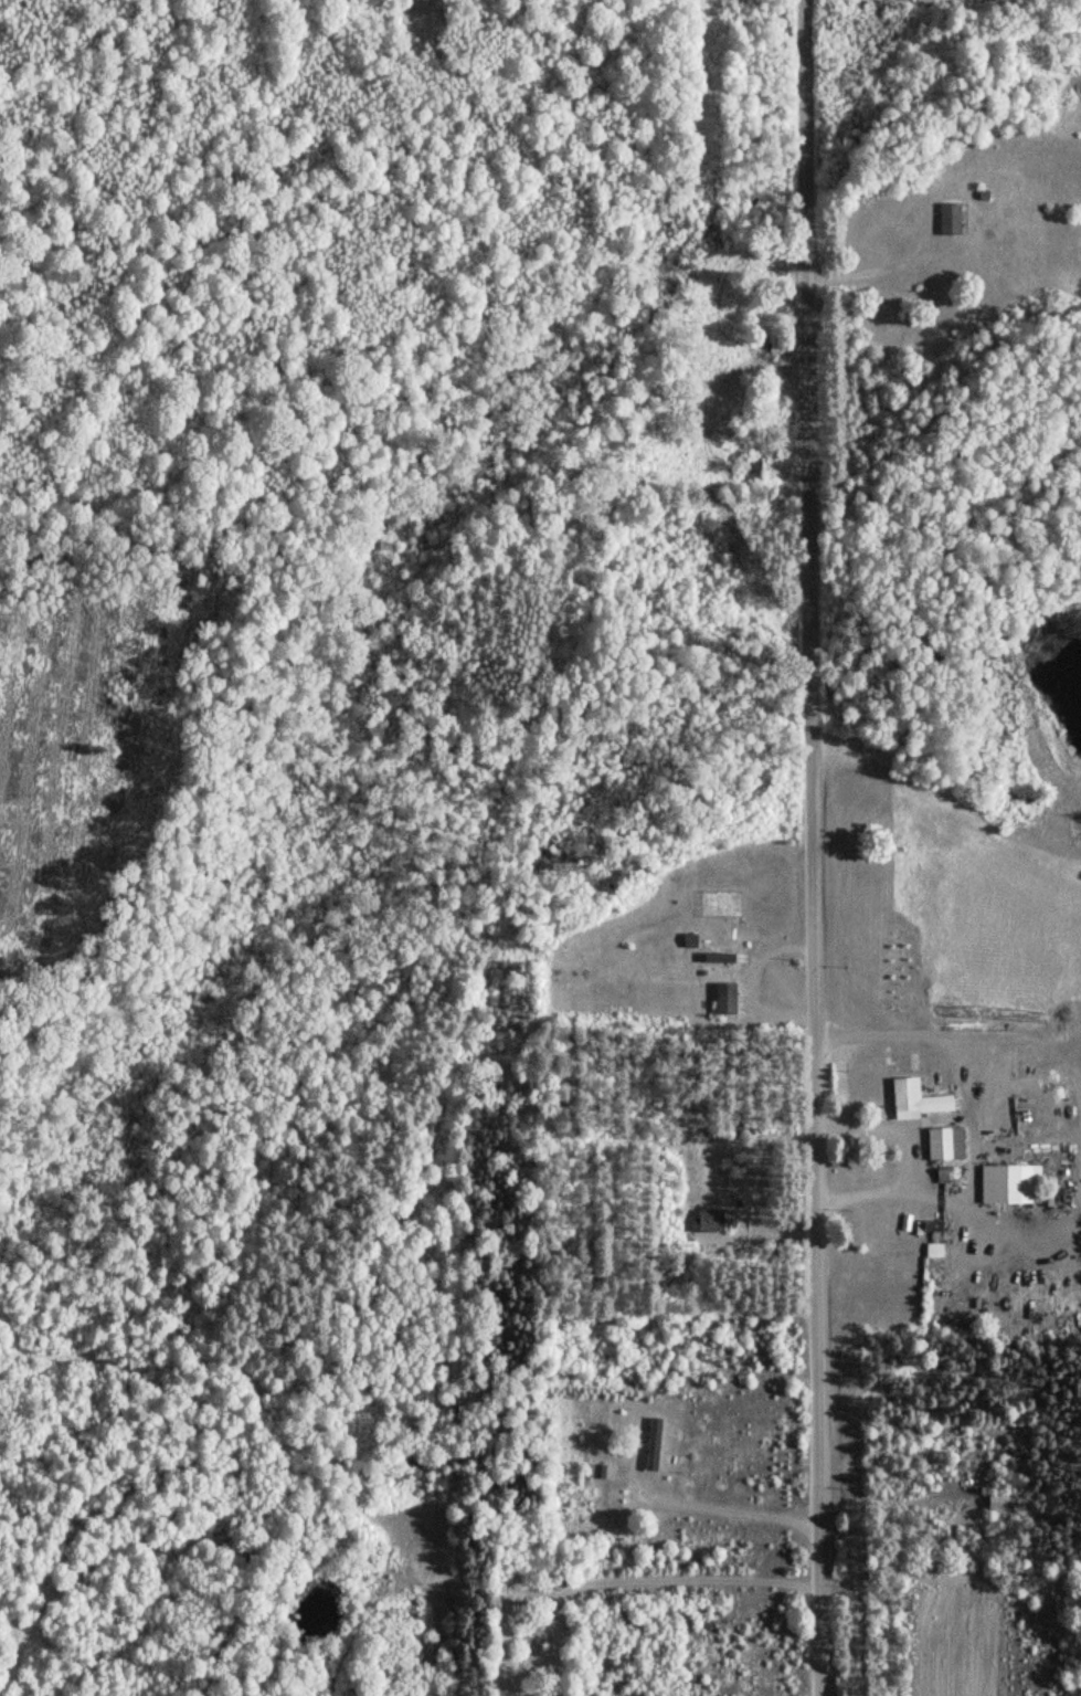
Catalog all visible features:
building: (946, 219)
building: (750, 471)
road: (810, 847)
building: (718, 958)
building: (723, 999)
building: (902, 1097)
building: (942, 1142)
road: (907, 1158)
building: (1003, 1183)
building: (930, 1250)
building: (650, 1444)
building: (597, 1472)
building: (1004, 1502)
road: (714, 1507)
road: (638, 1574)
building: (430, 1654)

